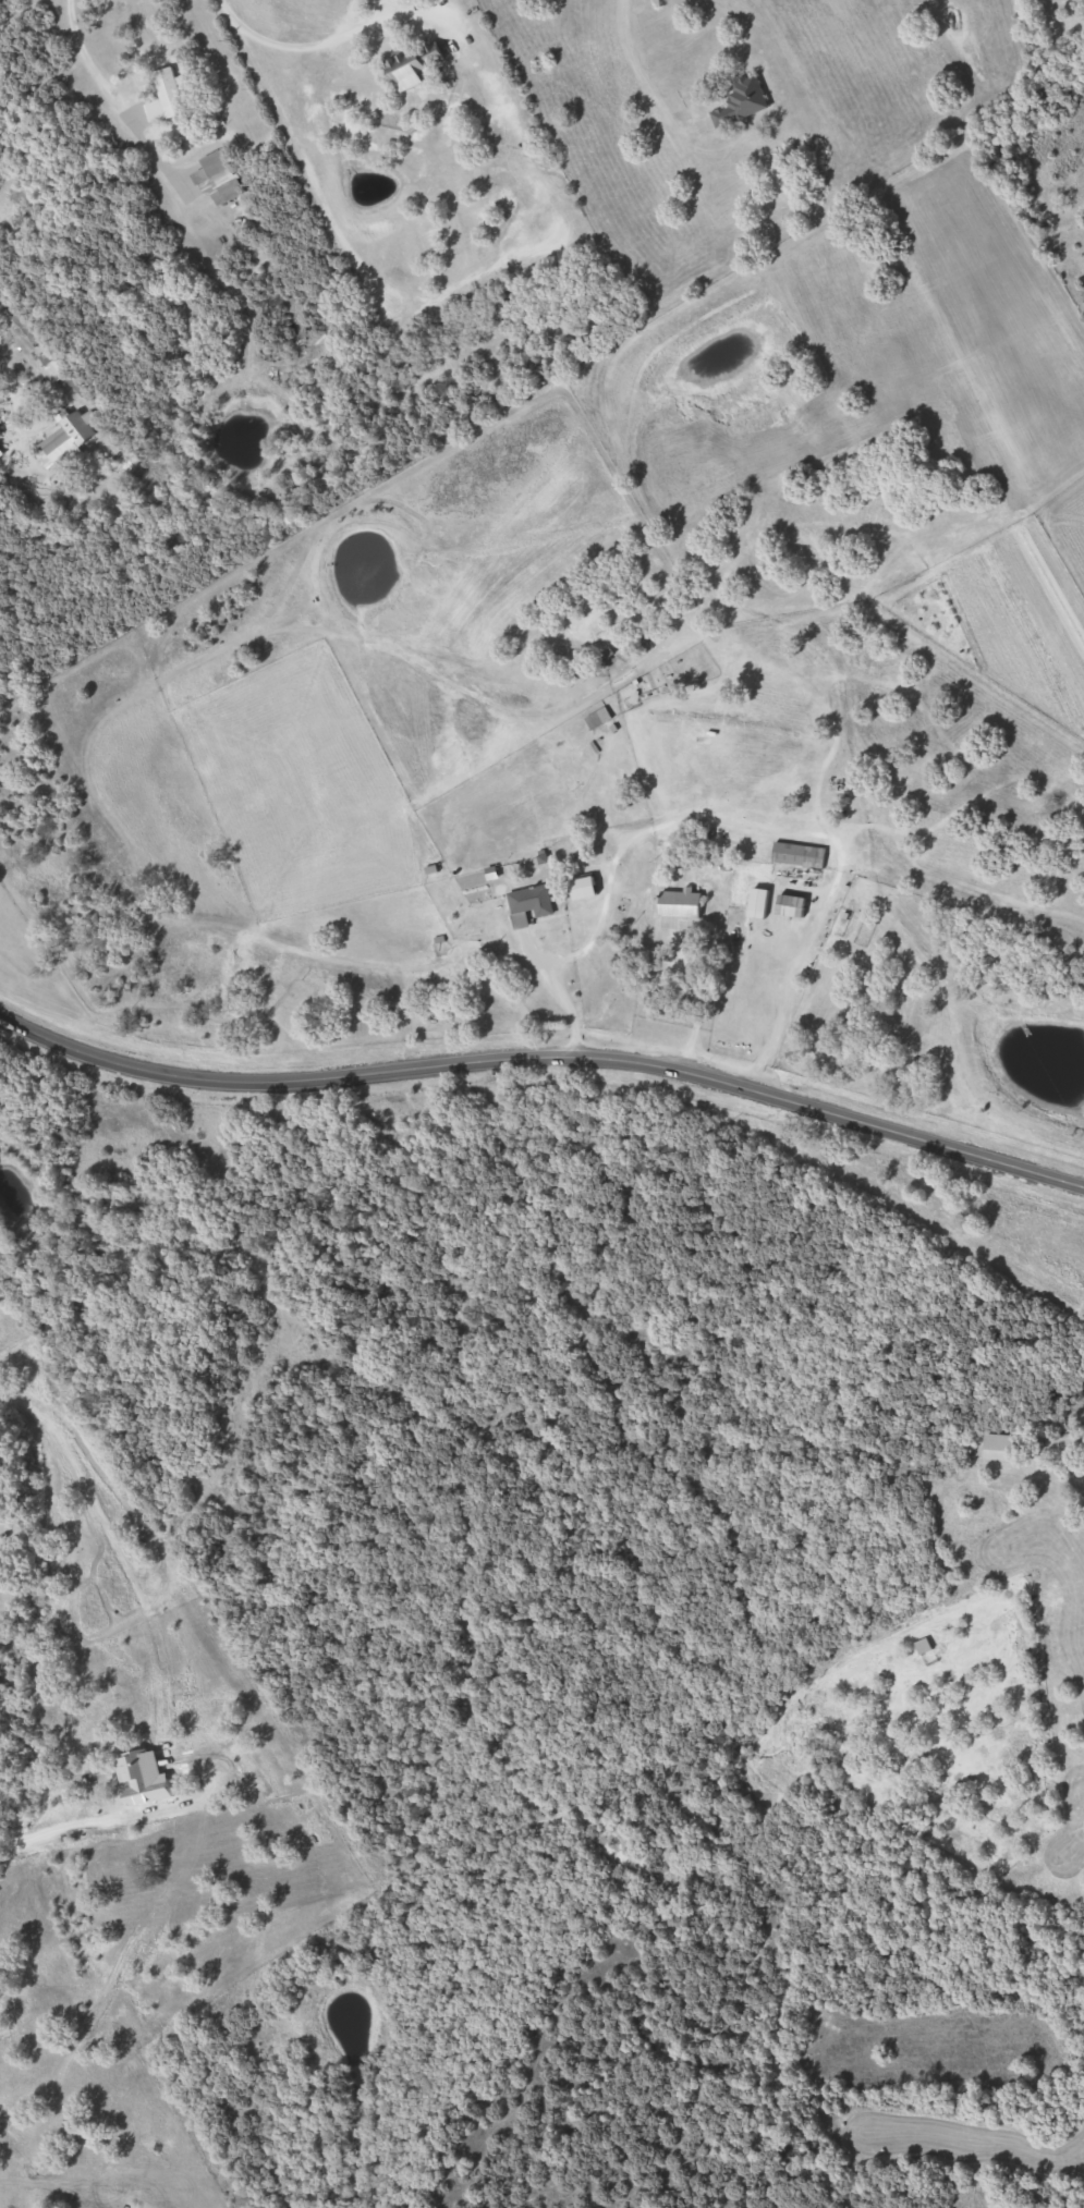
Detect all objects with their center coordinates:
road: (328, 42)
road: (629, 47)
building: (411, 65)
road: (107, 88)
building: (162, 97)
building: (738, 101)
building: (218, 175)
building: (48, 370)
road: (2, 378)
building: (64, 438)
building: (795, 855)
building: (578, 888)
building: (754, 903)
building: (526, 904)
building: (677, 904)
building: (787, 906)
road: (545, 1061)

